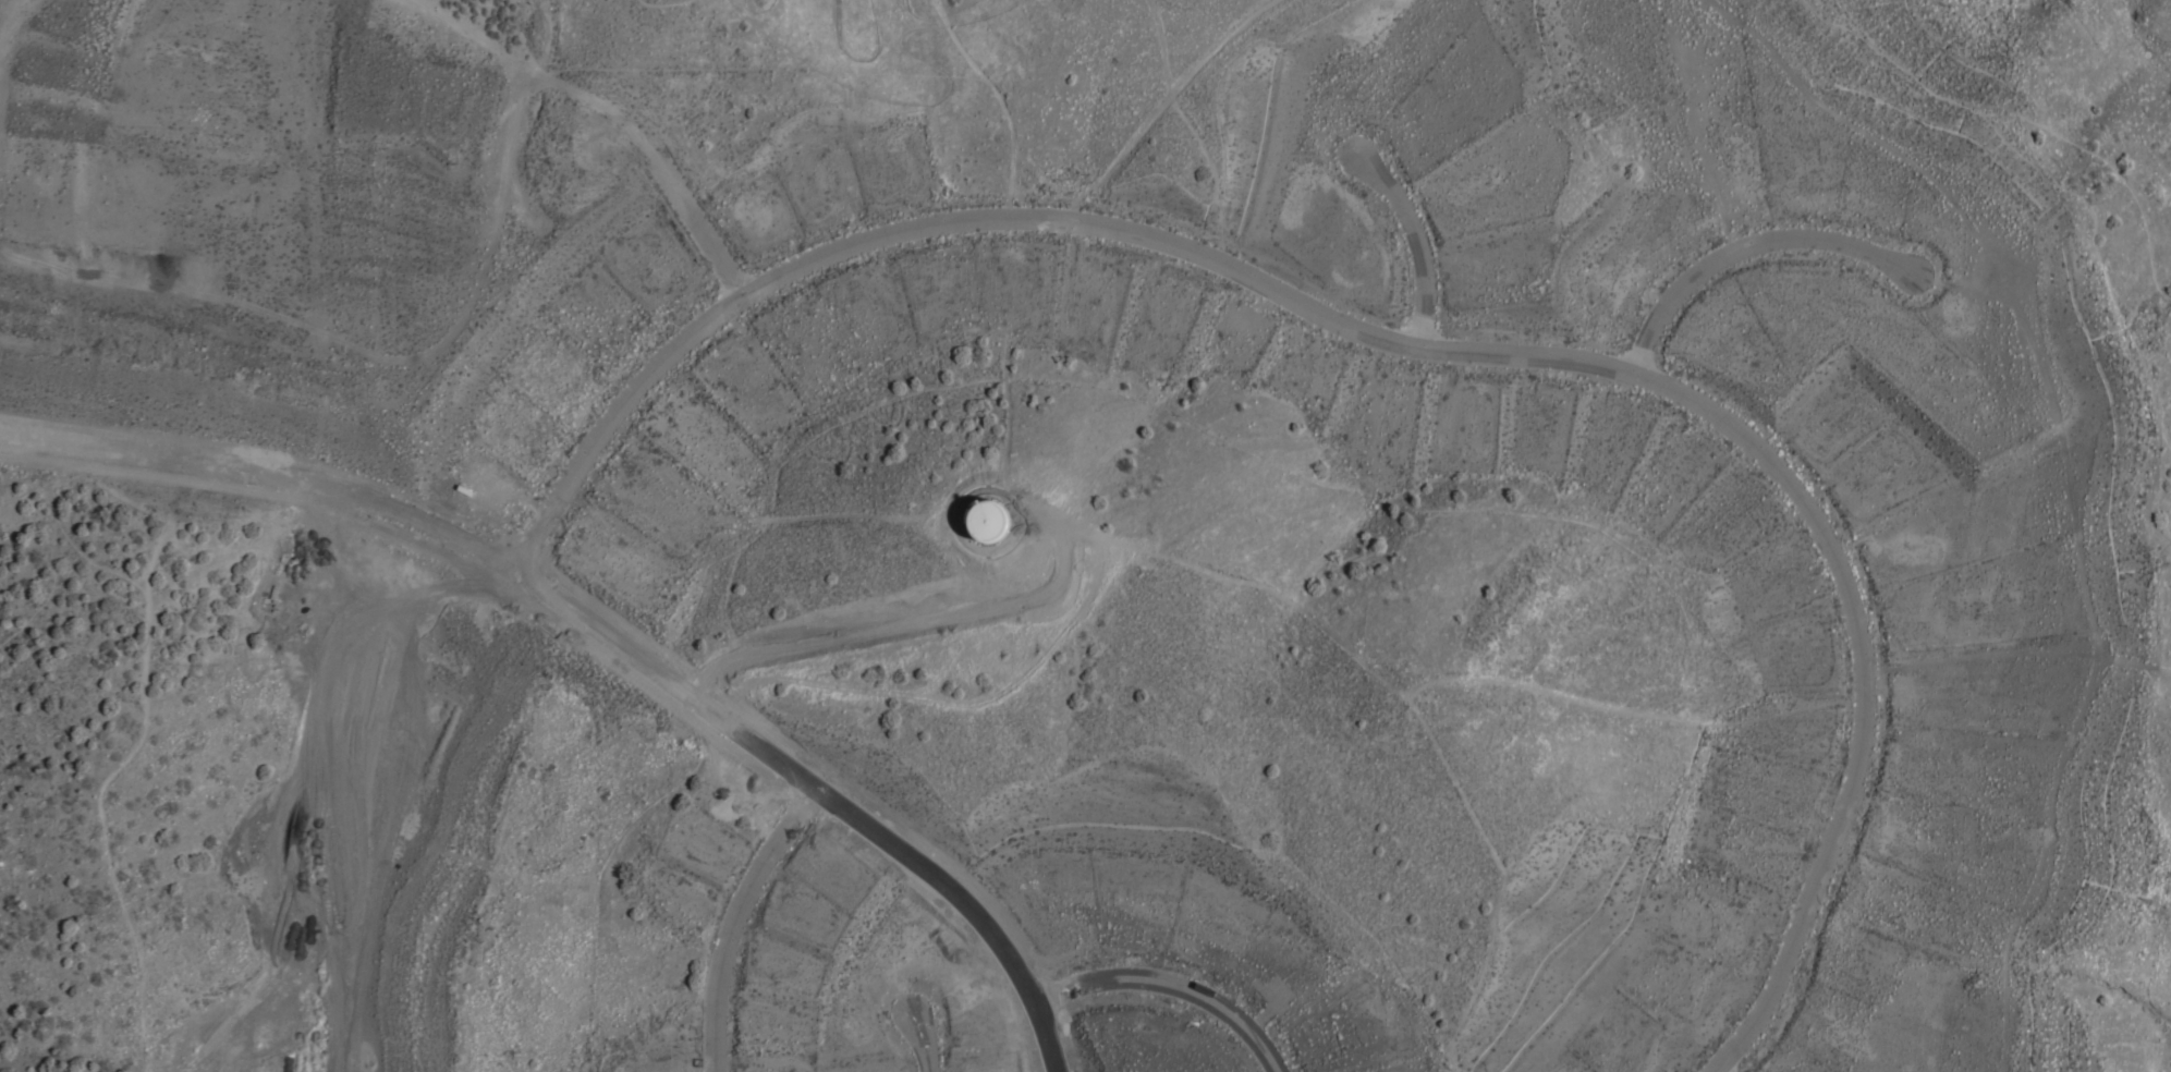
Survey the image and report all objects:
road: (540, 72)
road: (760, 73)
road: (999, 103)
road: (1150, 121)
road: (695, 228)
road: (1416, 245)
road: (1745, 247)
road: (2003, 294)
road: (1406, 349)
building: (988, 522)
storage tank: (988, 522)
road: (2155, 590)
road: (423, 592)
road: (913, 621)
road: (2160, 668)
road: (137, 745)
road: (351, 775)
road: (816, 791)
road: (600, 863)
road: (730, 918)
road: (1167, 987)
road: (918, 1043)
road: (583, 1051)

